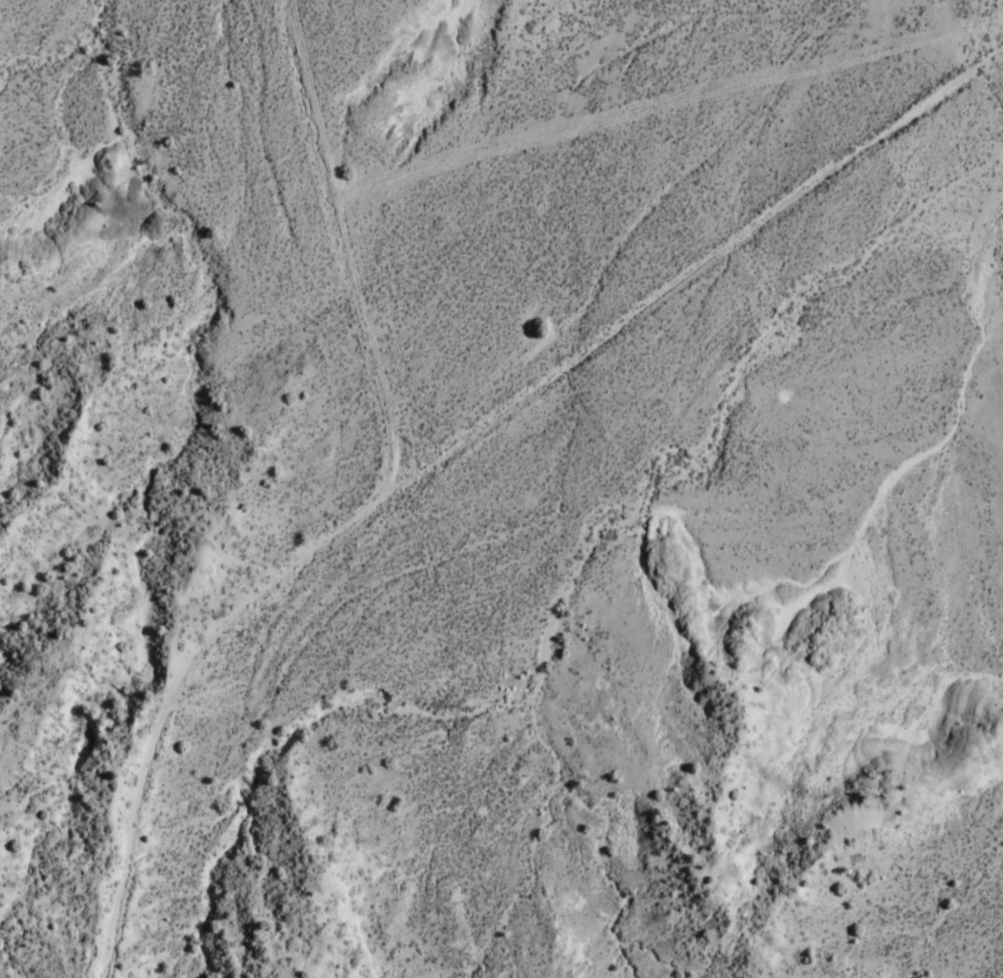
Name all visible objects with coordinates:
road: (348, 260)
road: (456, 446)

